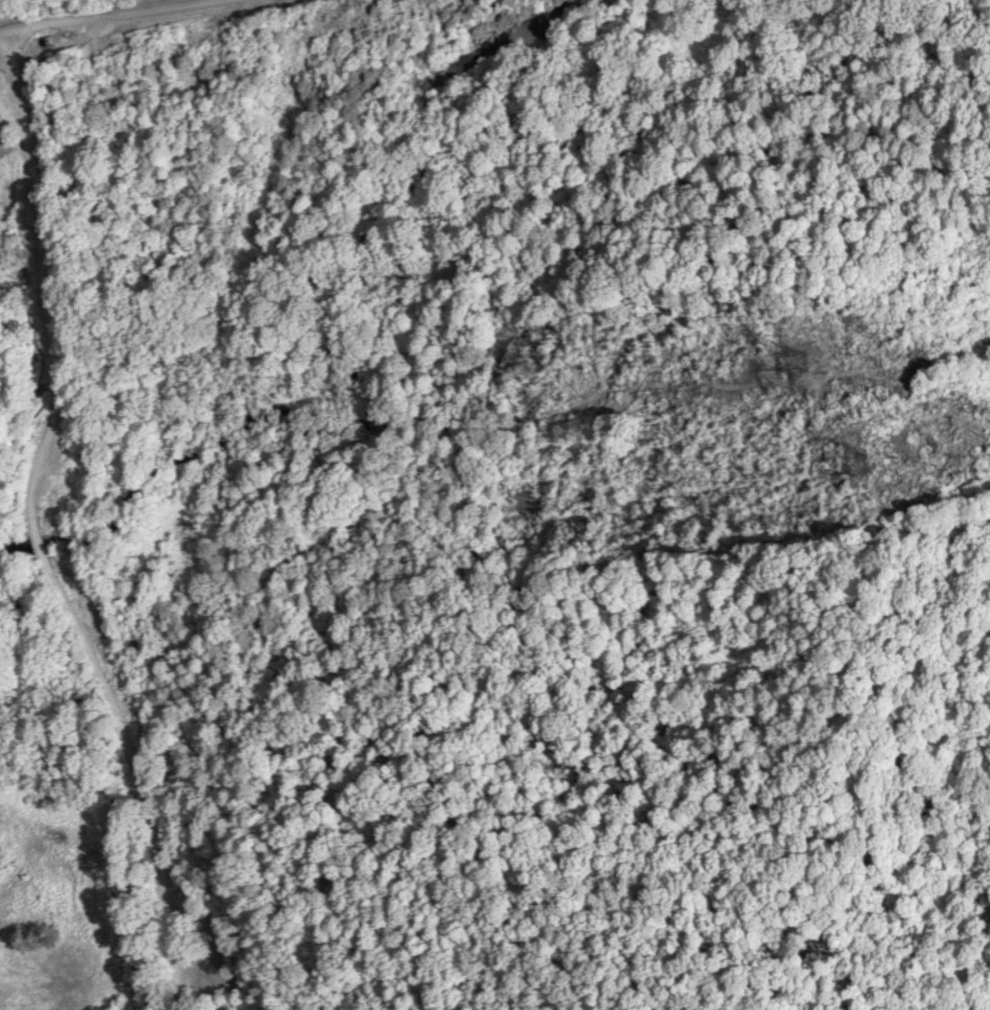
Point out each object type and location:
road: (97, 12)
road: (4, 30)
power tower: (821, 367)
power tower: (858, 468)
road: (94, 516)

